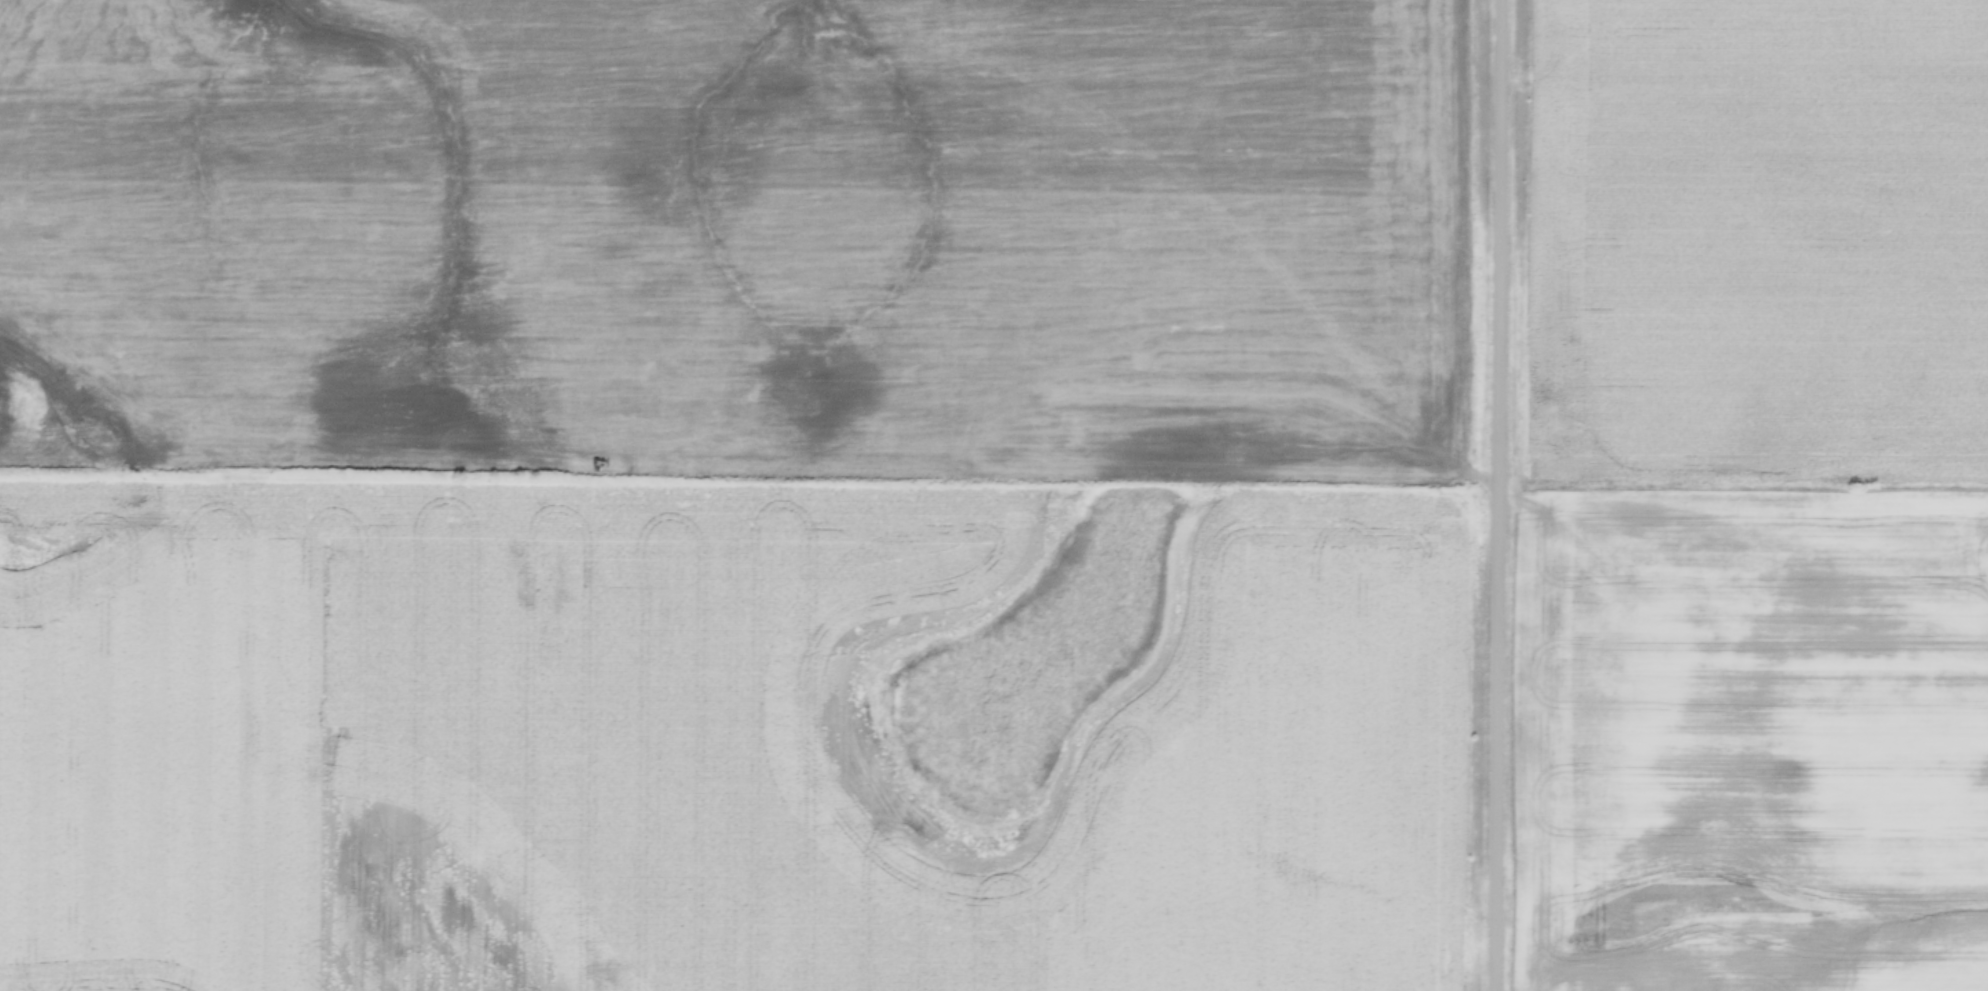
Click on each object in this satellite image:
road: (1489, 495)

